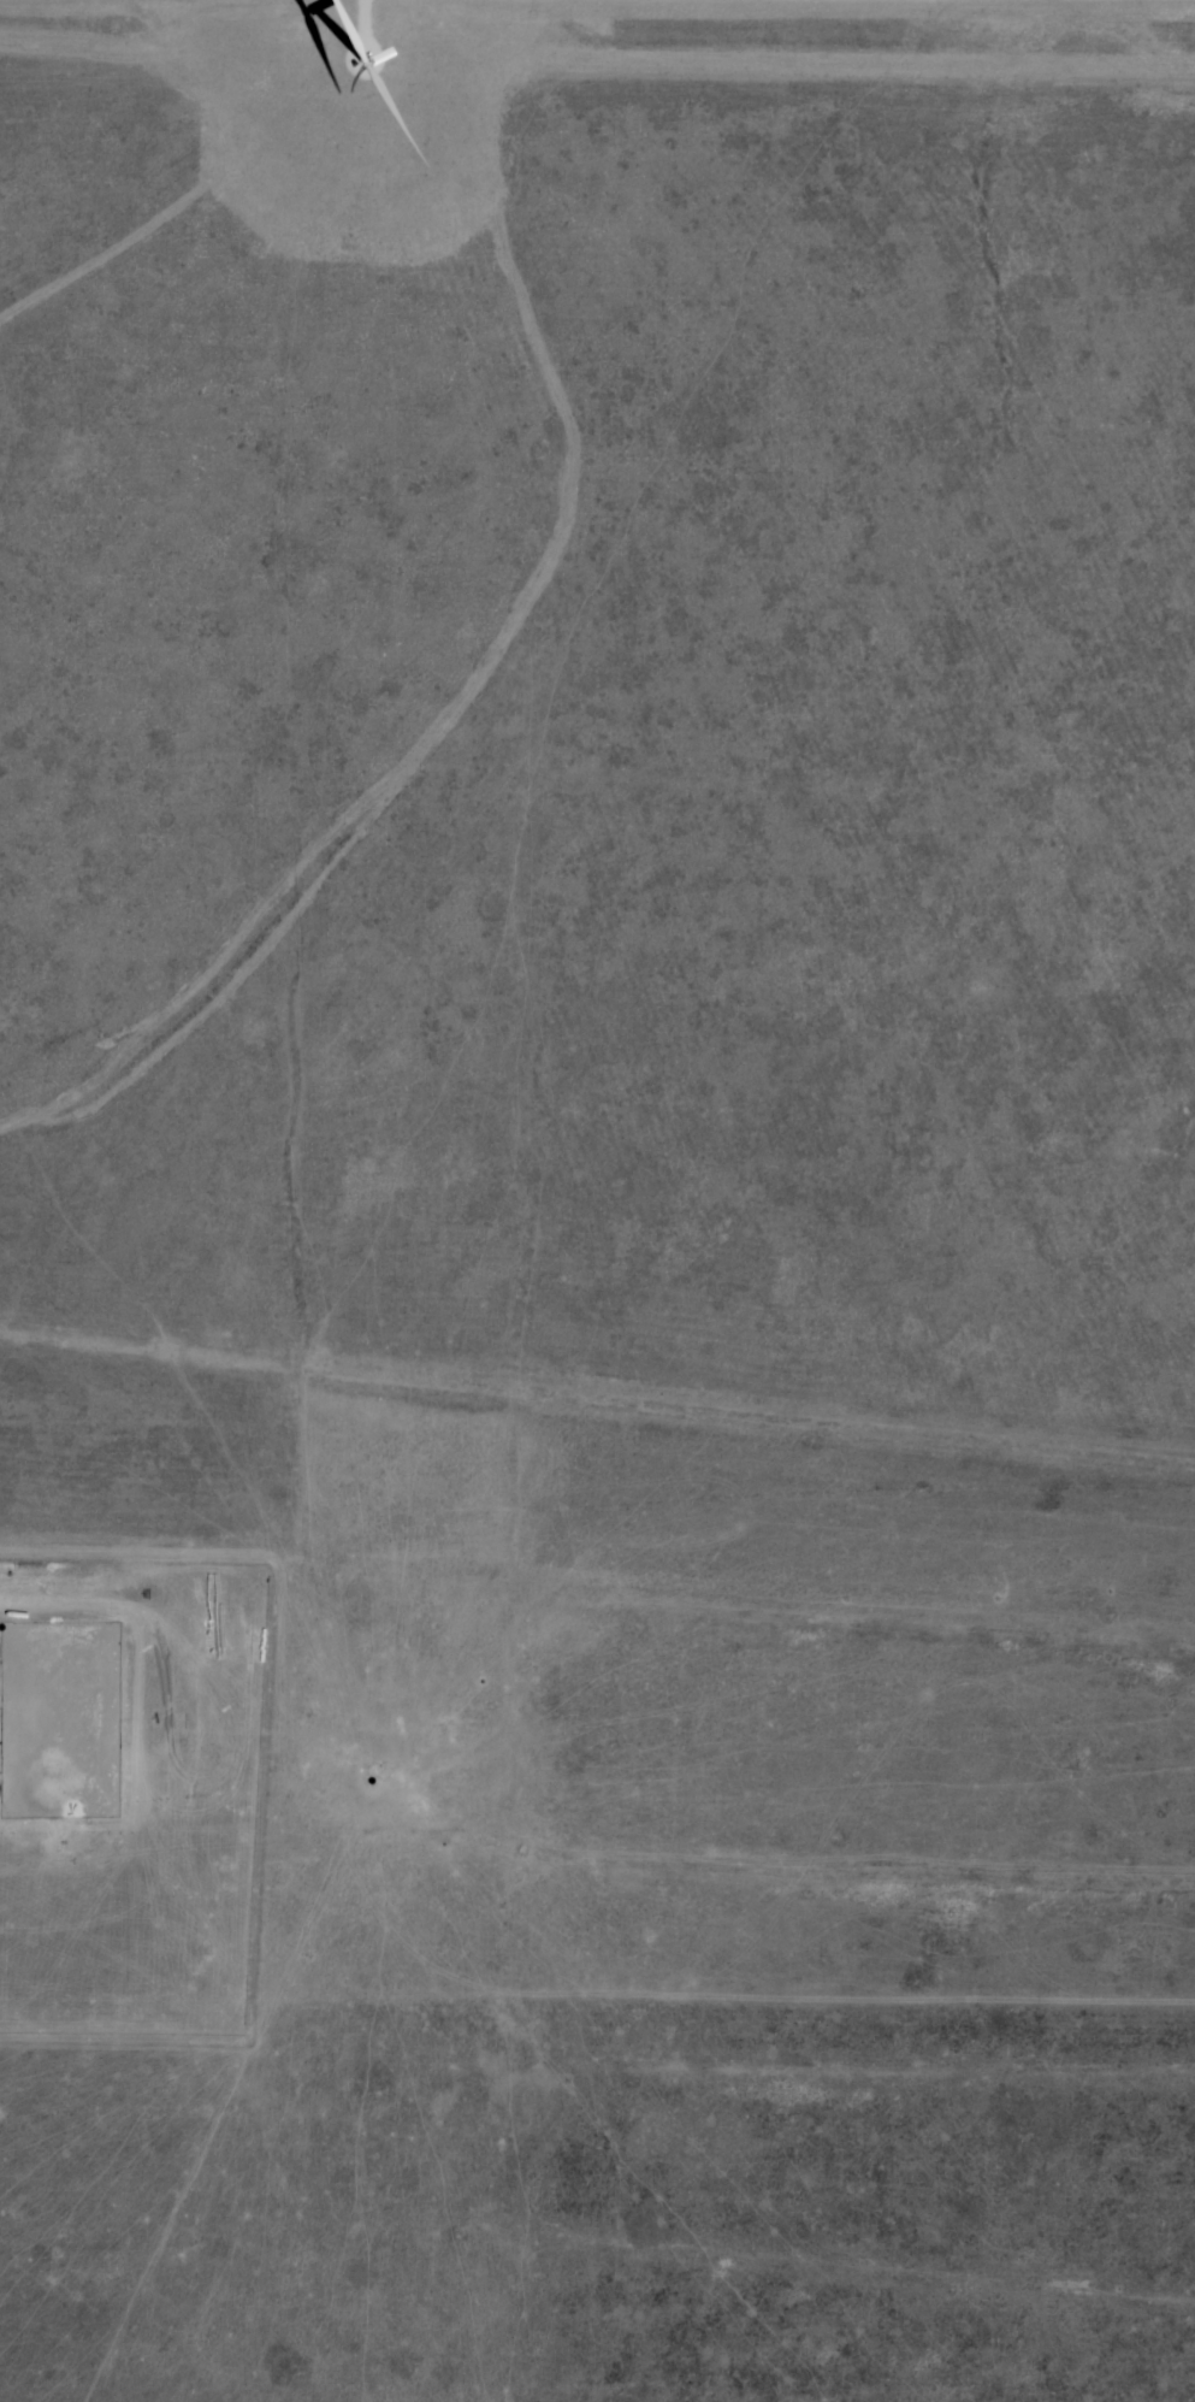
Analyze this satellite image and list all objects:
road: (367, 20)
wind turbine: (372, 60)

